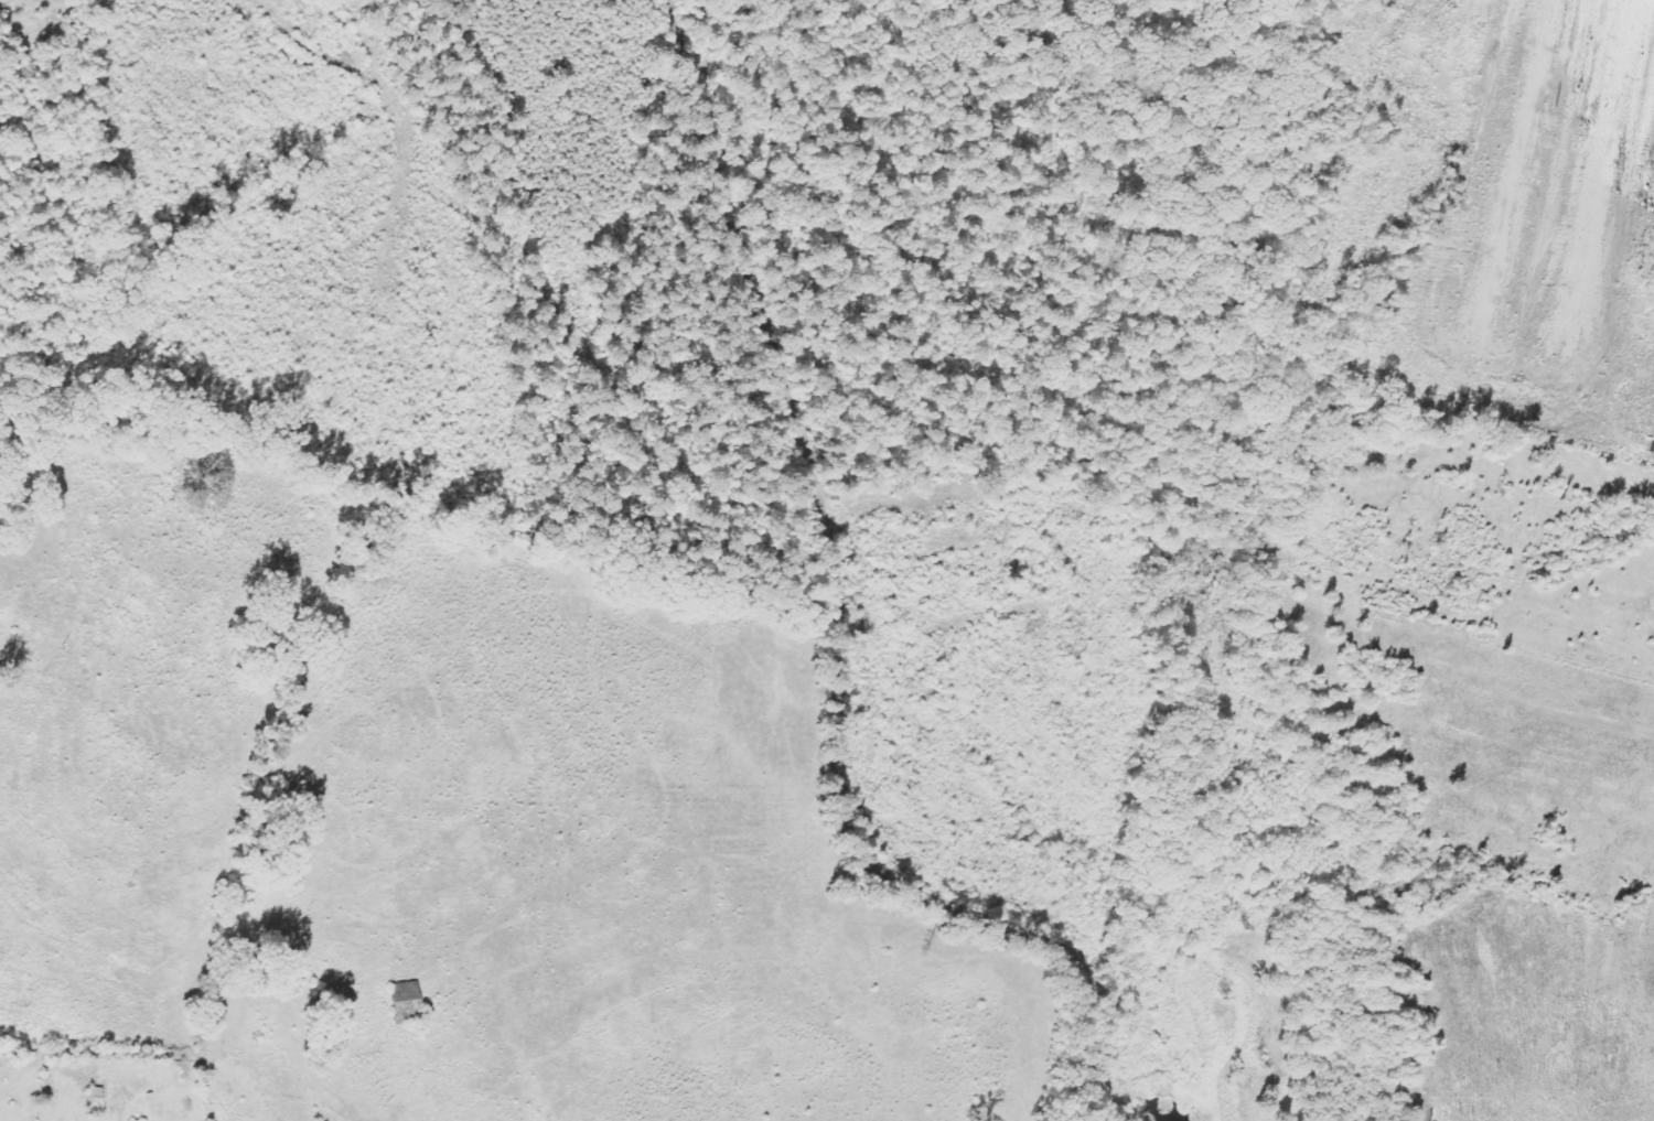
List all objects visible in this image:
road: (828, 612)

